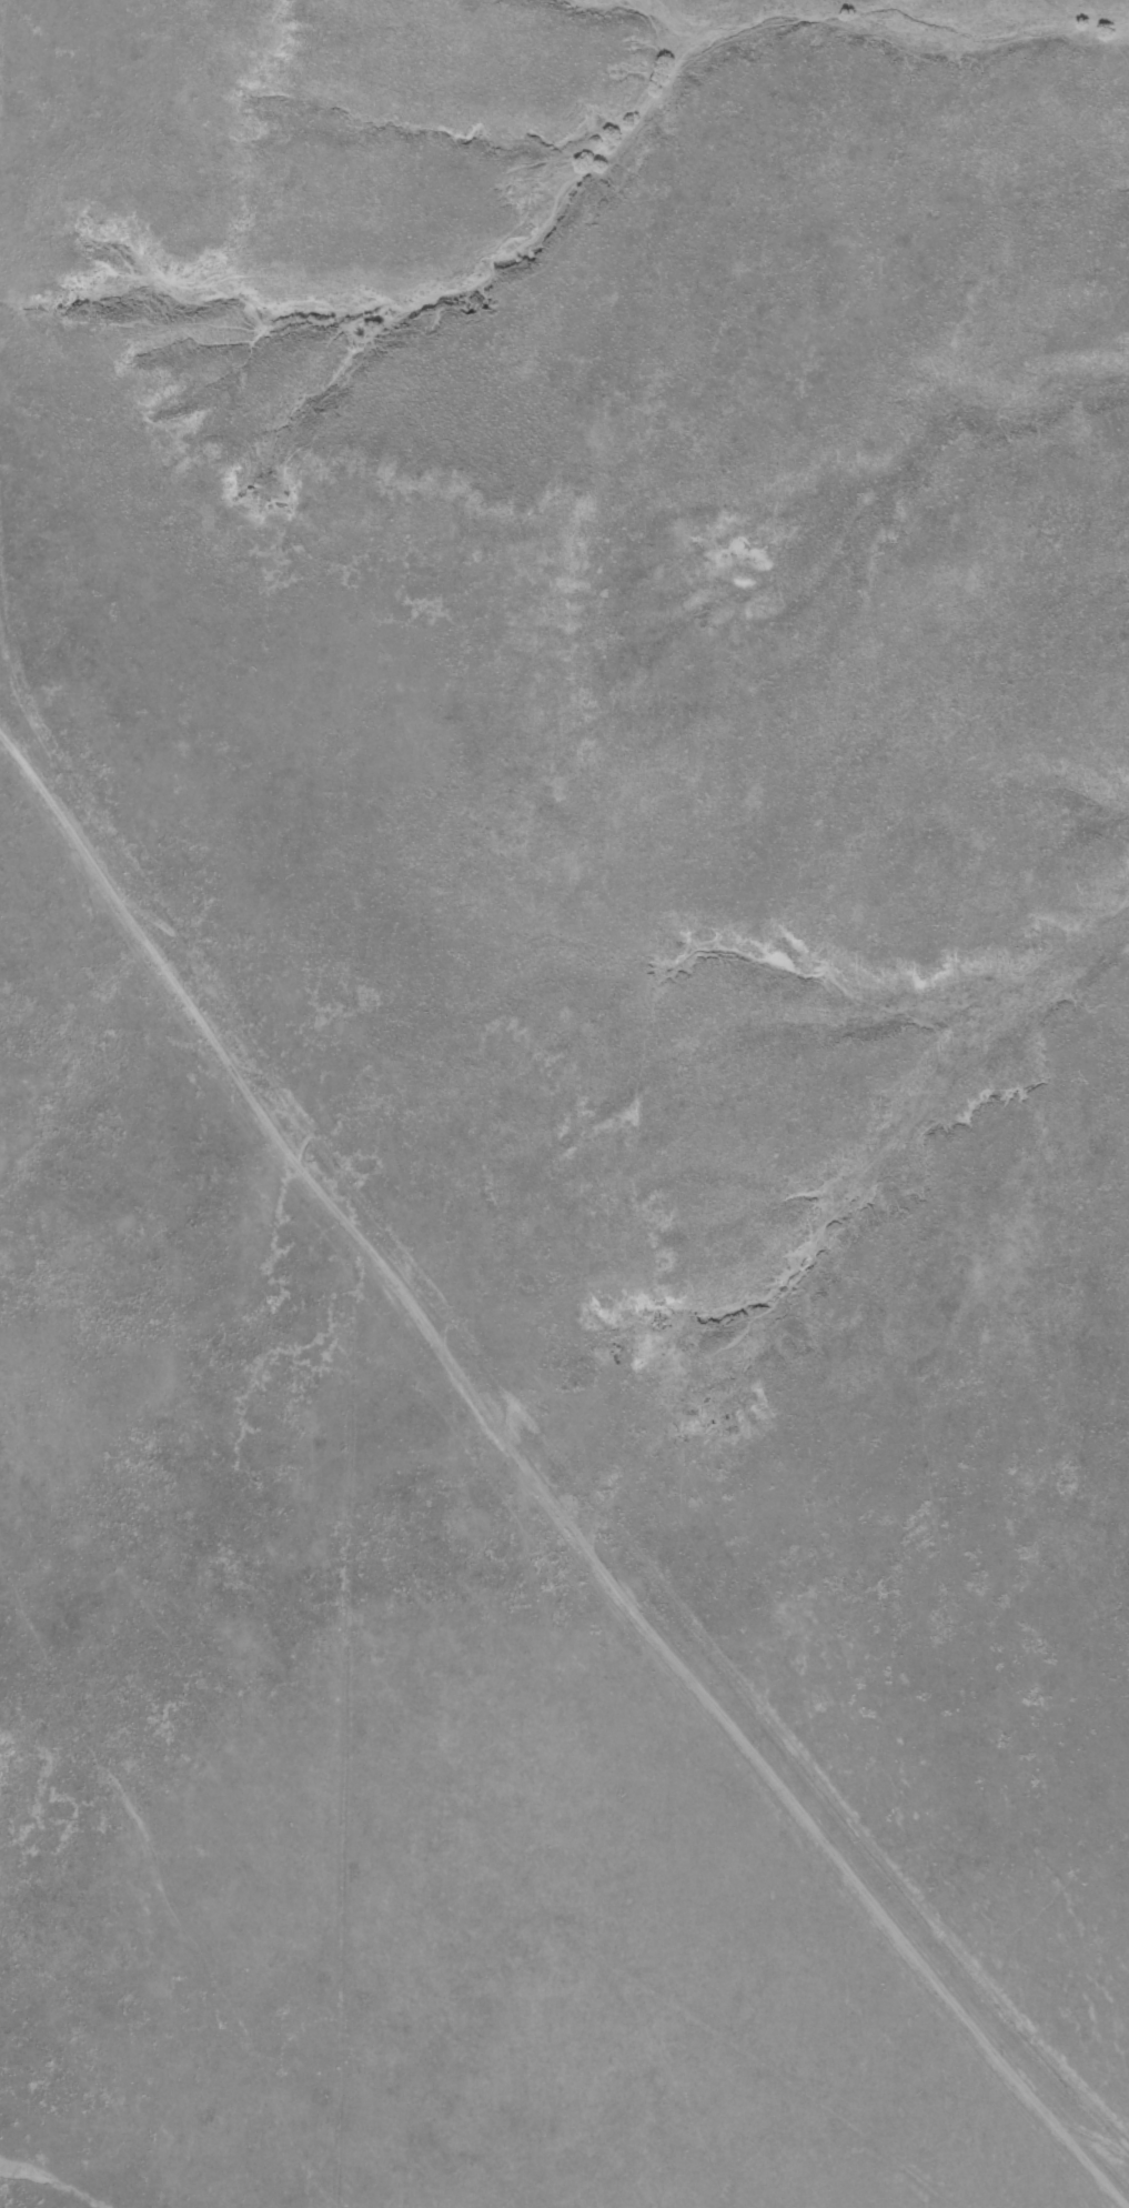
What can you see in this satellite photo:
road: (274, 1449)
road: (702, 1706)

